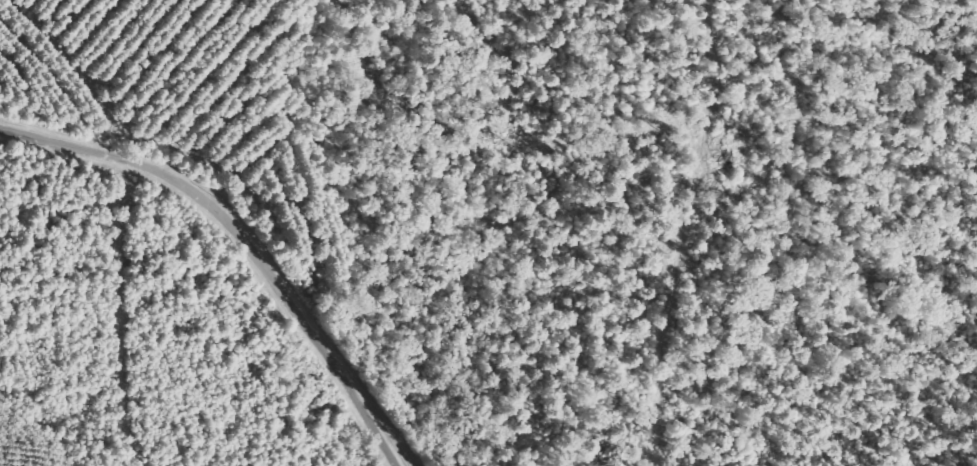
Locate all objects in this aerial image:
road: (73, 75)
road: (243, 239)

